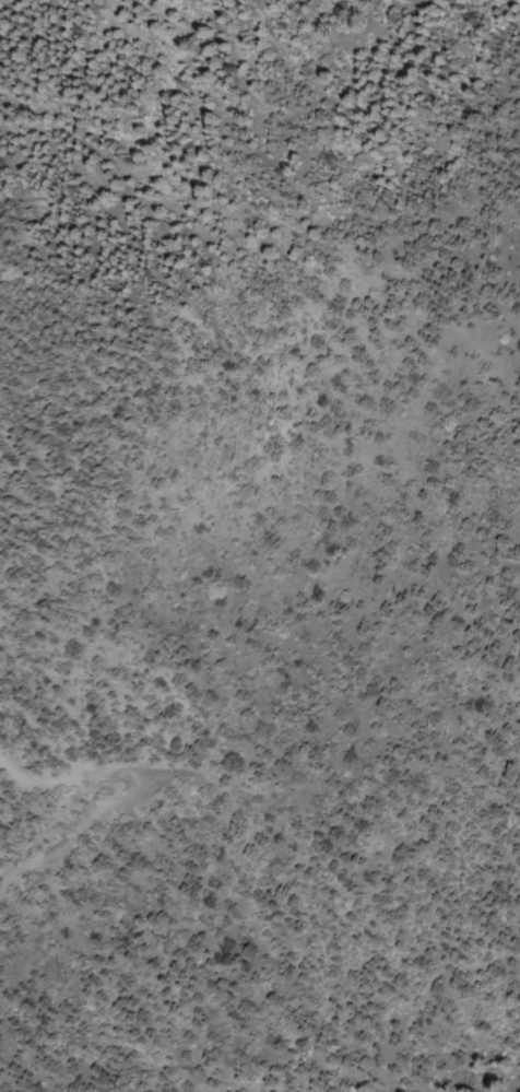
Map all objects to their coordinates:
road: (121, 796)

